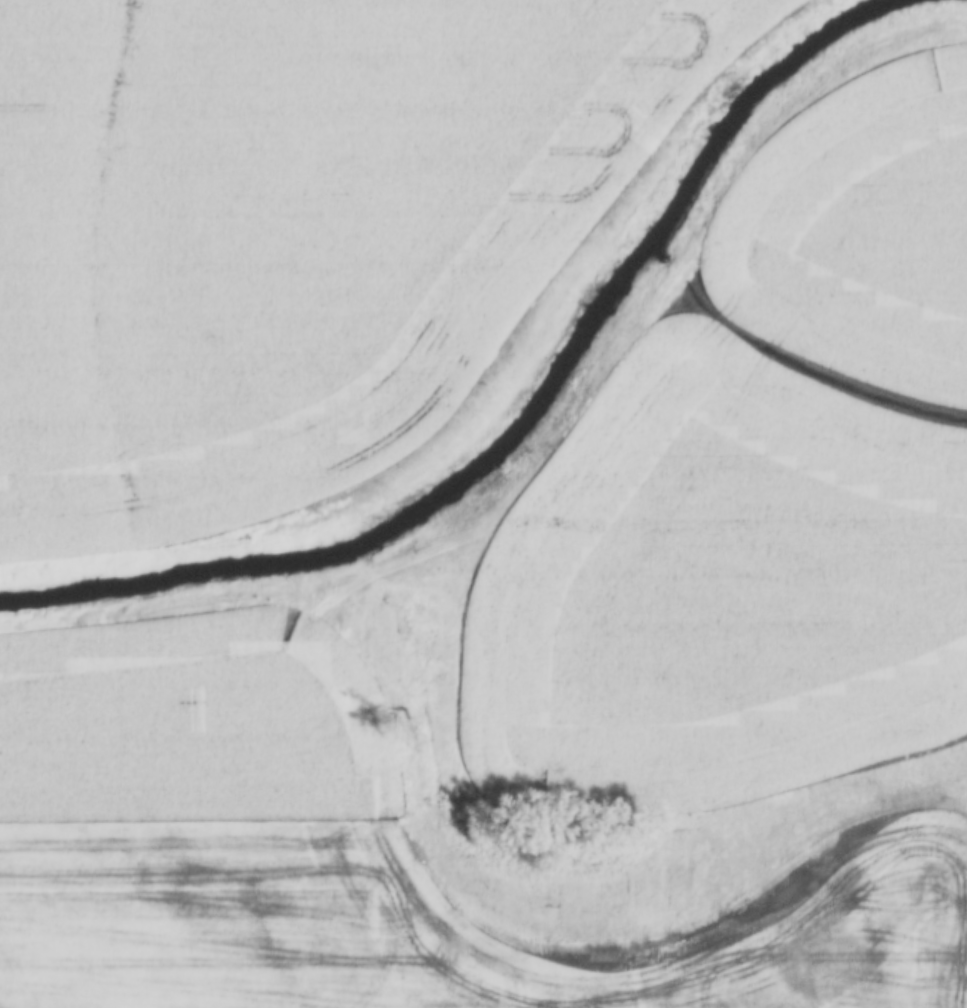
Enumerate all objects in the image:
crop: (859, 225)
crop: (291, 231)
crop: (716, 592)
crop: (353, 854)

